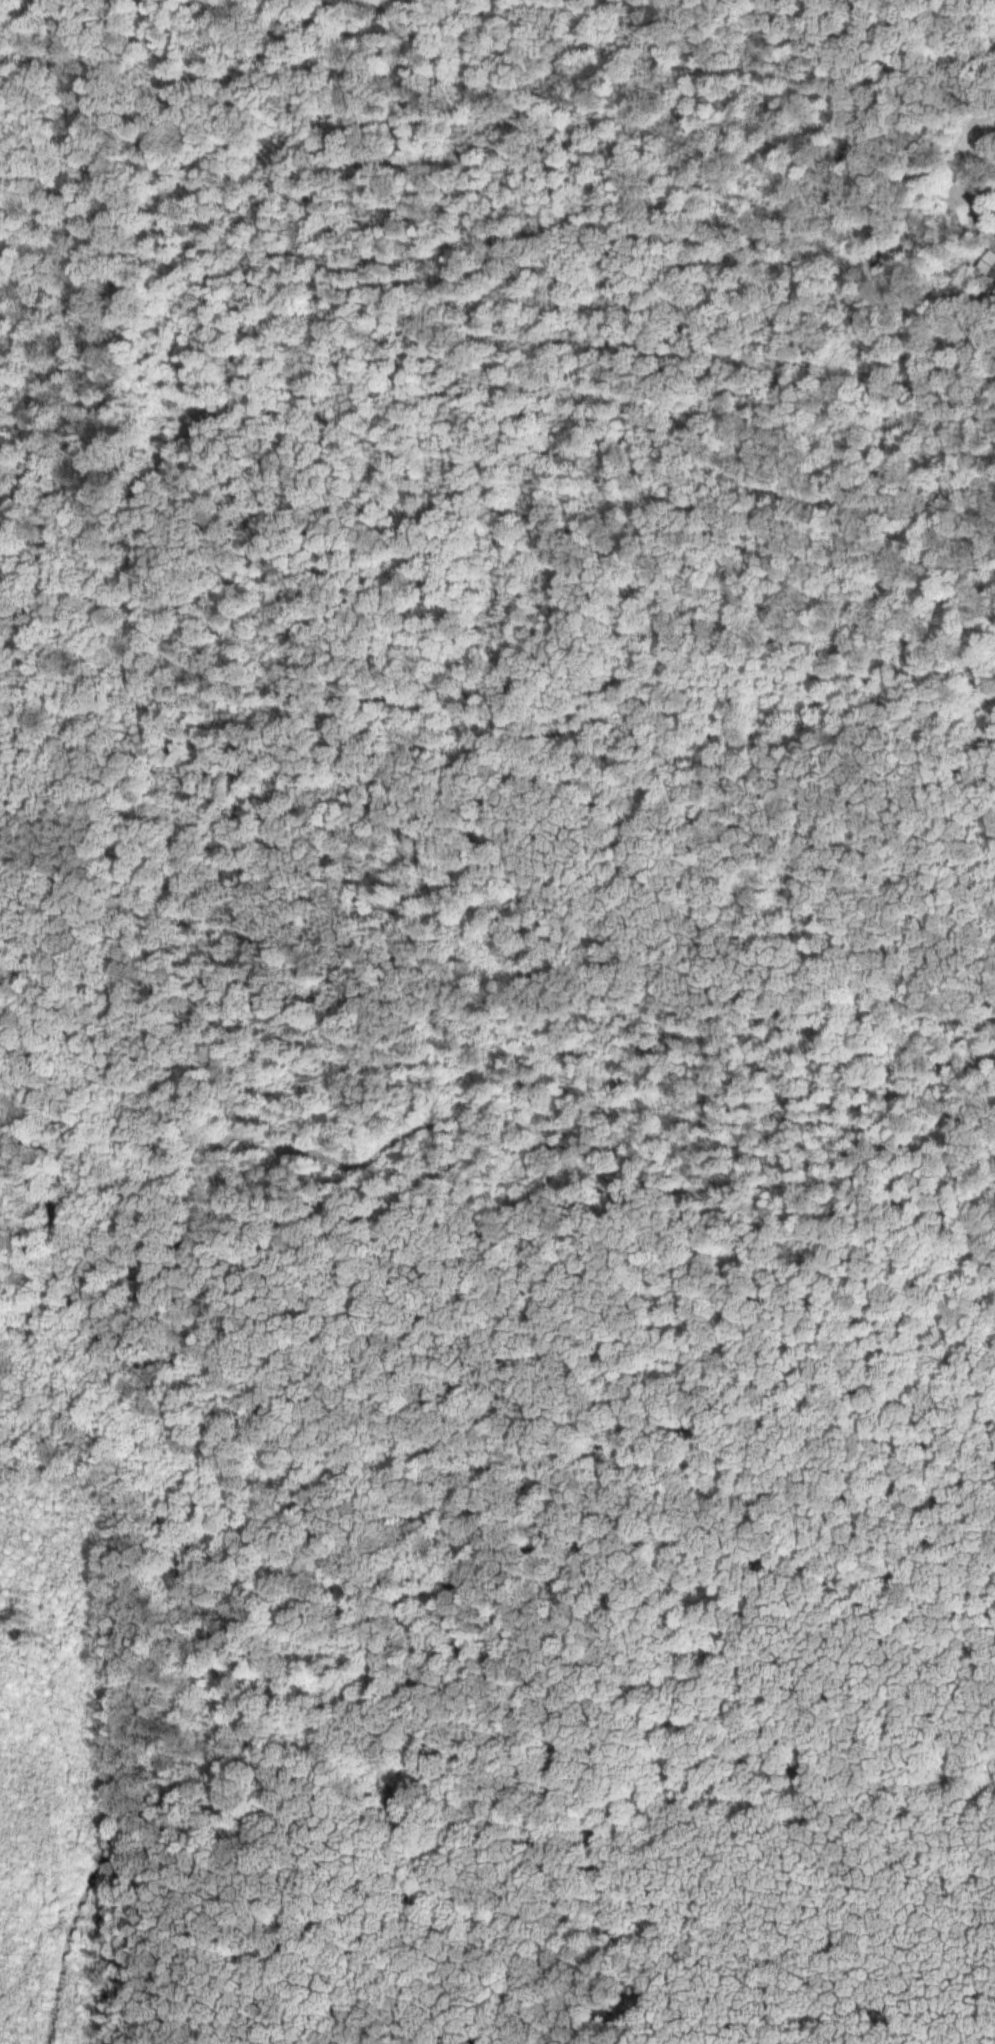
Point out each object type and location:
building: (989, 264)
road: (589, 437)

